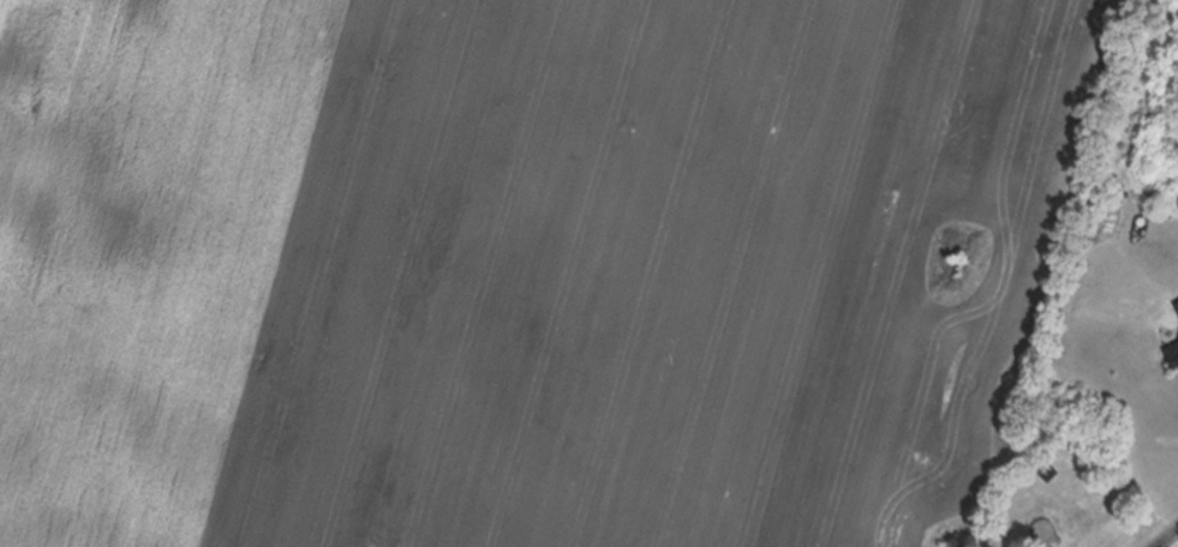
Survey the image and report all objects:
building: (1170, 337)
road: (1161, 534)

